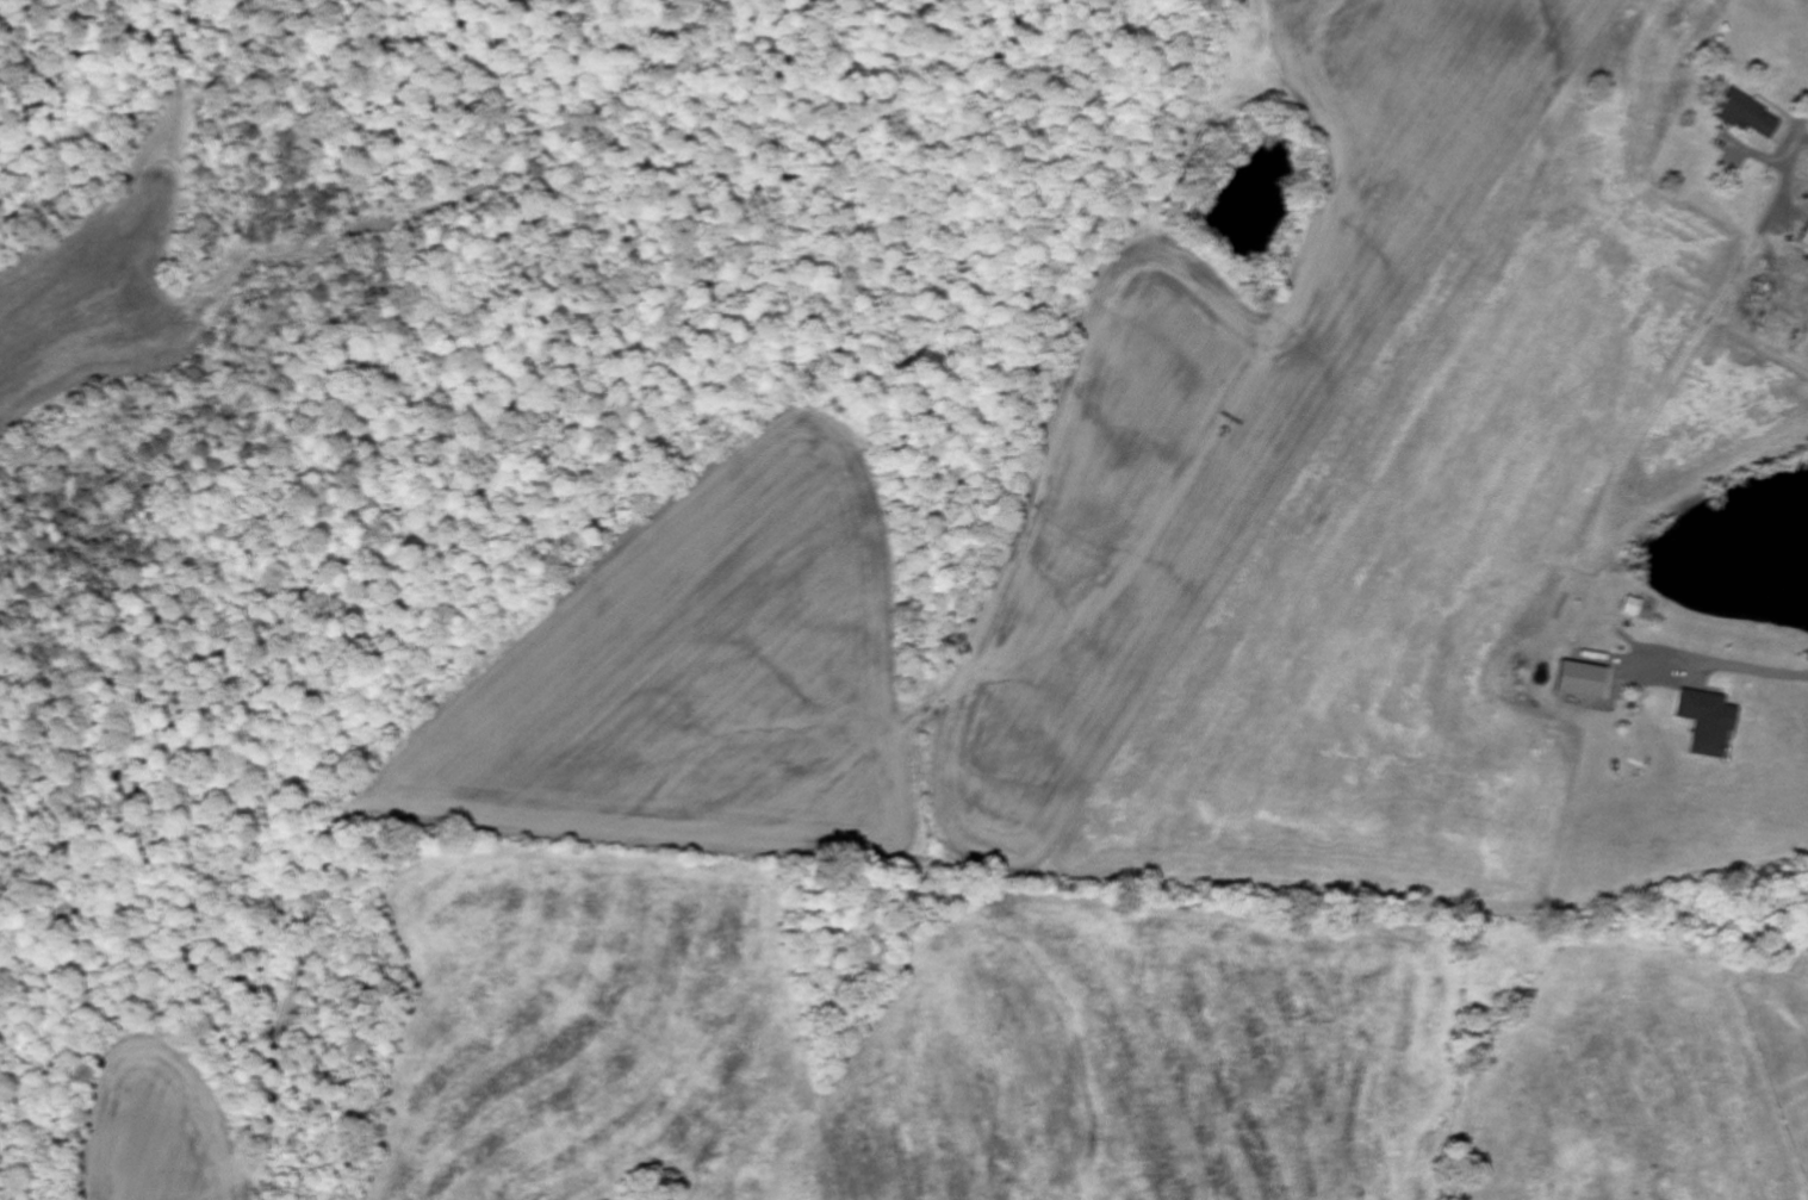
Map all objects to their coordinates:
building: (1744, 116)
building: (1803, 238)
building: (1629, 608)
building: (1578, 680)
building: (1706, 725)

